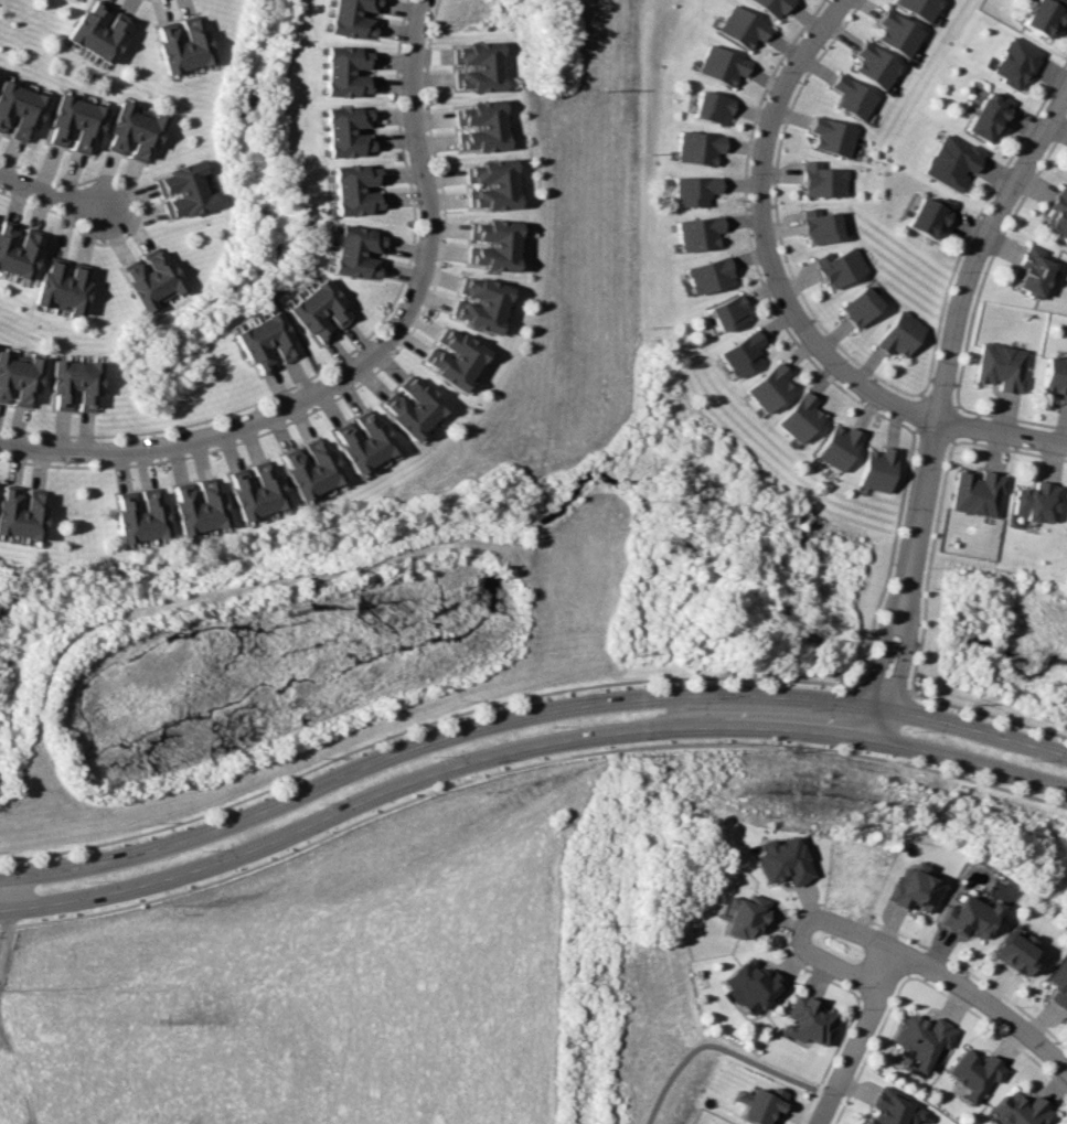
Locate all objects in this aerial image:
building: (770, 7)
building: (917, 8)
building: (1042, 18)
building: (352, 19)
building: (83, 22)
building: (740, 26)
building: (92, 28)
building: (896, 33)
building: (103, 34)
building: (111, 40)
building: (199, 41)
building: (188, 43)
building: (175, 46)
building: (481, 47)
building: (166, 50)
building: (481, 60)
building: (1013, 63)
building: (721, 65)
building: (874, 65)
building: (344, 72)
building: (481, 73)
building: (482, 84)
building: (4, 93)
building: (851, 96)
building: (10, 105)
building: (481, 107)
building: (711, 107)
building: (20, 111)
building: (31, 116)
building: (57, 116)
building: (986, 116)
building: (67, 119)
building: (482, 119)
building: (79, 124)
building: (117, 124)
building: (89, 128)
building: (128, 128)
building: (346, 129)
building: (483, 131)
building: (139, 133)
building: (831, 136)
building: (150, 137)
building: (484, 143)
building: (696, 147)
road: (434, 149)
road: (402, 158)
building: (950, 161)
building: (491, 165)
building: (179, 172)
building: (491, 178)
building: (821, 180)
road: (74, 182)
building: (179, 184)
building: (354, 189)
road: (54, 190)
building: (692, 190)
building: (492, 191)
road: (296, 194)
building: (183, 195)
building: (493, 203)
building: (189, 205)
building: (926, 216)
building: (1057, 216)
building: (819, 225)
building: (495, 227)
road: (75, 229)
building: (2, 232)
building: (696, 233)
building: (493, 238)
road: (766, 238)
building: (6, 248)
building: (493, 251)
building: (354, 254)
building: (14, 255)
building: (26, 256)
building: (491, 263)
building: (837, 267)
building: (164, 270)
building: (1029, 271)
building: (706, 275)
building: (154, 276)
building: (43, 282)
building: (145, 282)
building: (54, 285)
building: (66, 287)
building: (489, 287)
building: (136, 289)
building: (77, 290)
building: (484, 298)
building: (857, 306)
building: (318, 309)
building: (479, 310)
building: (726, 312)
building: (476, 321)
road: (952, 324)
building: (898, 334)
road: (384, 341)
building: (264, 342)
building: (465, 344)
building: (458, 353)
building: (739, 353)
building: (1, 360)
building: (450, 364)
building: (999, 366)
building: (7, 374)
building: (444, 374)
building: (20, 377)
building: (1054, 377)
building: (31, 379)
building: (57, 384)
building: (70, 386)
building: (84, 386)
building: (95, 386)
building: (766, 387)
building: (427, 395)
building: (417, 402)
road: (254, 404)
building: (407, 411)
building: (796, 417)
road: (290, 420)
building: (399, 420)
building: (378, 432)
road: (1001, 432)
road: (46, 435)
building: (367, 437)
road: (30, 443)
building: (356, 445)
building: (834, 447)
building: (346, 451)
building: (327, 462)
road: (53, 464)
building: (317, 467)
building: (874, 469)
building: (305, 473)
building: (294, 478)
building: (273, 484)
building: (262, 488)
building: (248, 492)
building: (973, 492)
building: (237, 496)
building: (1033, 501)
building: (214, 504)
building: (3, 506)
building: (203, 506)
building: (189, 507)
building: (177, 510)
building: (12, 512)
building: (156, 513)
building: (25, 515)
building: (145, 515)
building: (38, 517)
building: (131, 517)
building: (1066, 517)
building: (120, 520)
road: (878, 657)
road: (901, 661)
road: (524, 716)
road: (524, 749)
road: (524, 764)
building: (780, 860)
building: (913, 888)
building: (741, 916)
building: (968, 917)
road: (892, 948)
building: (1014, 952)
road: (790, 956)
road: (972, 974)
building: (748, 985)
road: (884, 985)
building: (1058, 985)
building: (805, 1019)
road: (993, 1027)
road: (857, 1037)
building: (922, 1038)
road: (713, 1045)
road: (871, 1049)
road: (829, 1060)
building: (975, 1072)
building: (758, 1103)
building: (892, 1107)
building: (1020, 1110)

